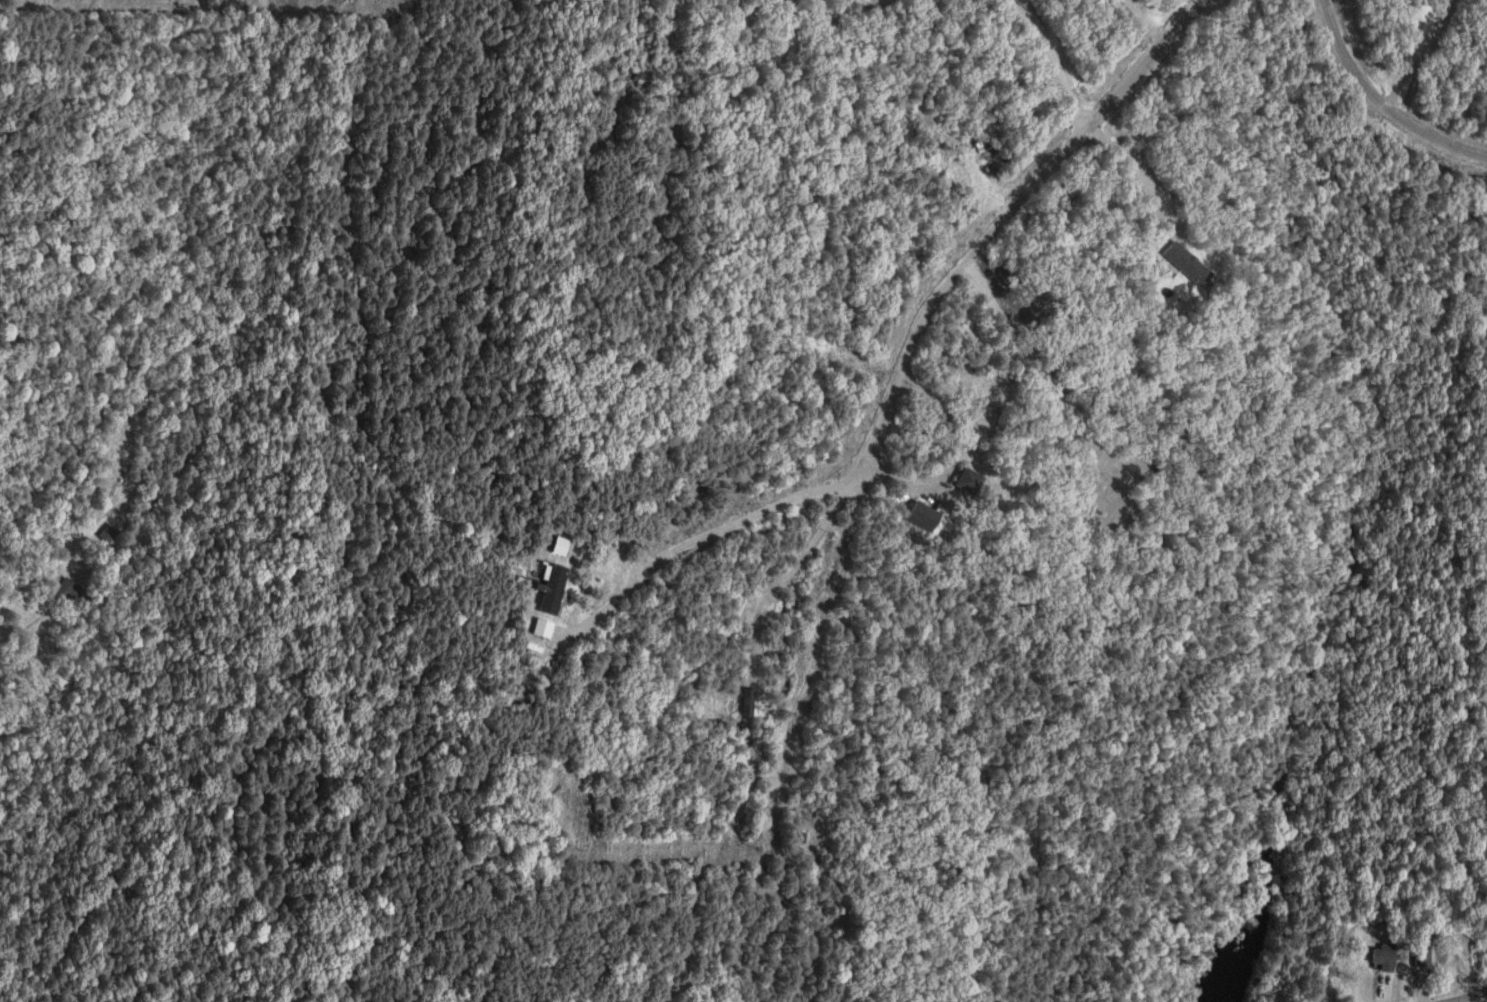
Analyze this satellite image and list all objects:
road: (1137, 24)
road: (1415, 54)
road: (772, 61)
road: (1379, 105)
road: (1075, 125)
building: (1189, 264)
road: (1043, 388)
road: (888, 392)
building: (971, 482)
building: (926, 517)
building: (560, 545)
road: (679, 555)
building: (554, 589)
building: (73, 591)
road: (11, 613)
building: (543, 627)
building: (749, 700)
road: (608, 805)
road: (666, 820)
road: (636, 859)
road: (749, 924)
building: (1486, 946)
building: (1383, 957)
road: (1465, 993)

